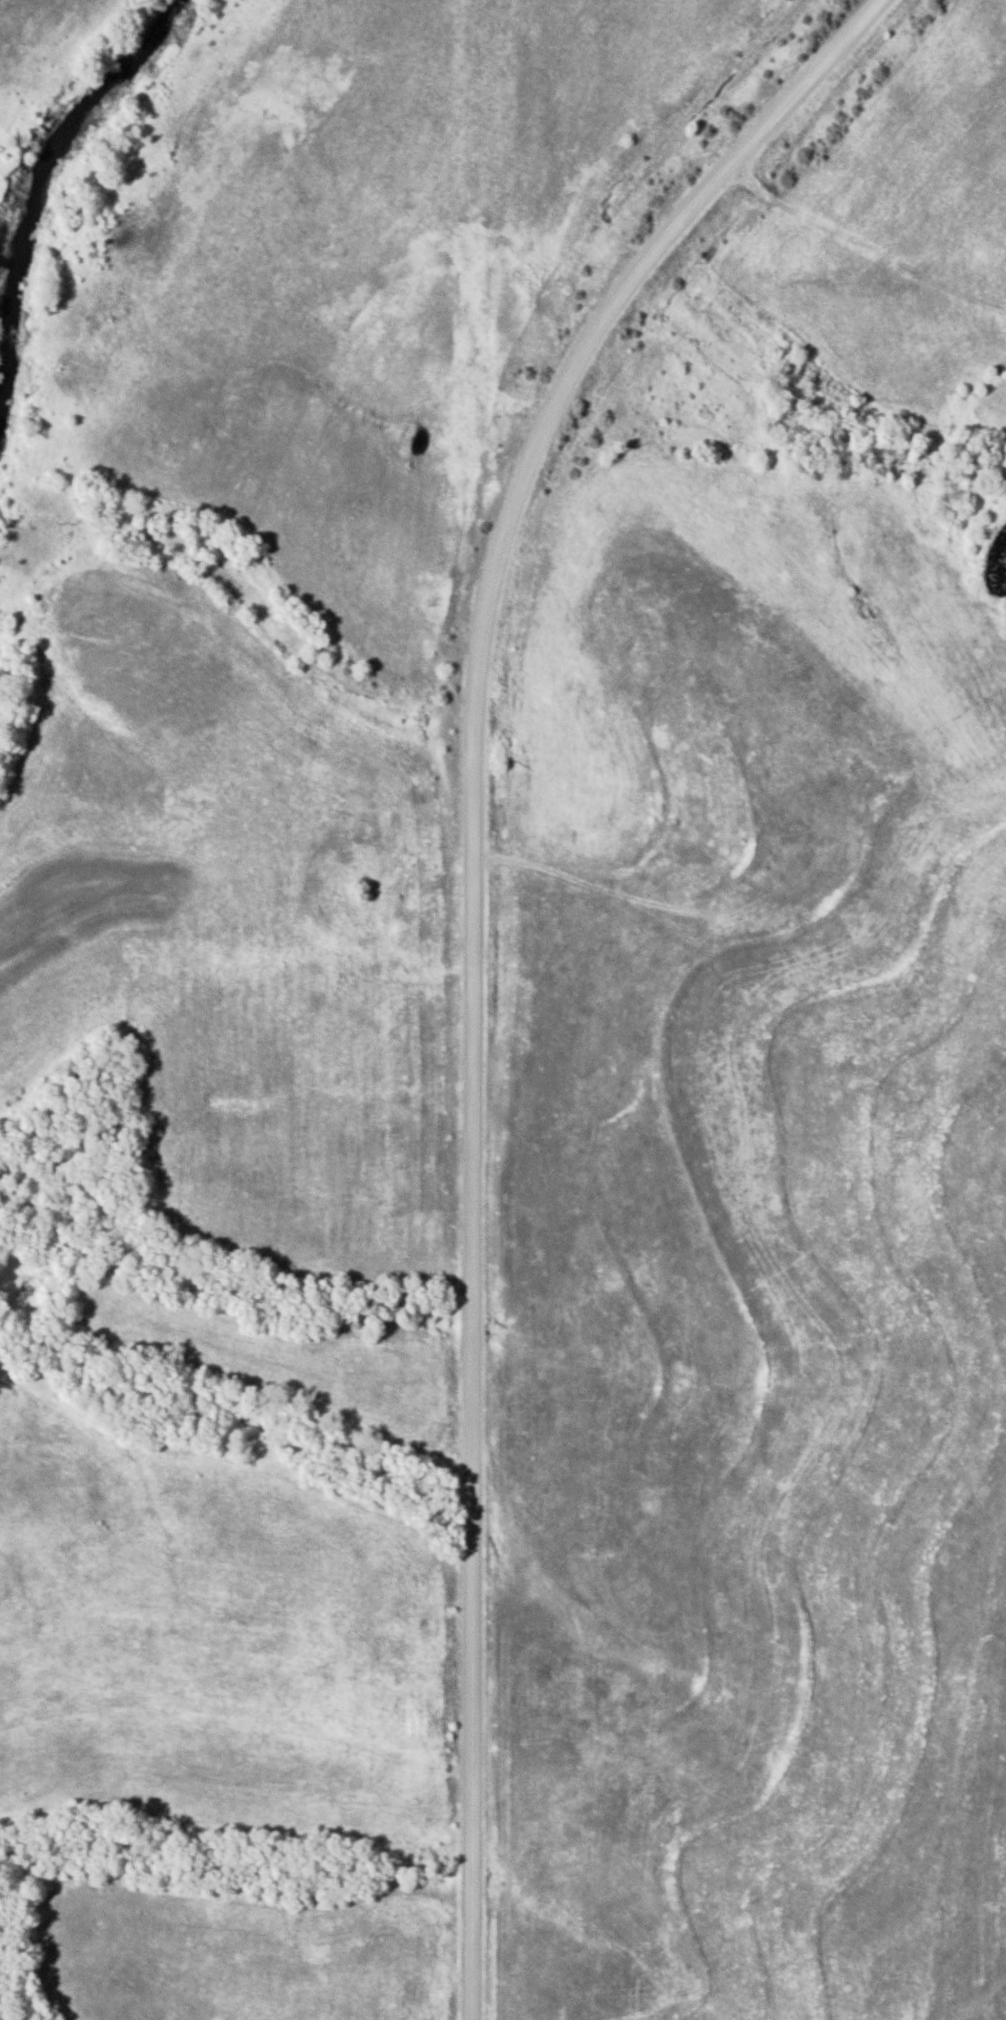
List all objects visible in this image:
river: (53, 199)
road: (473, 945)

